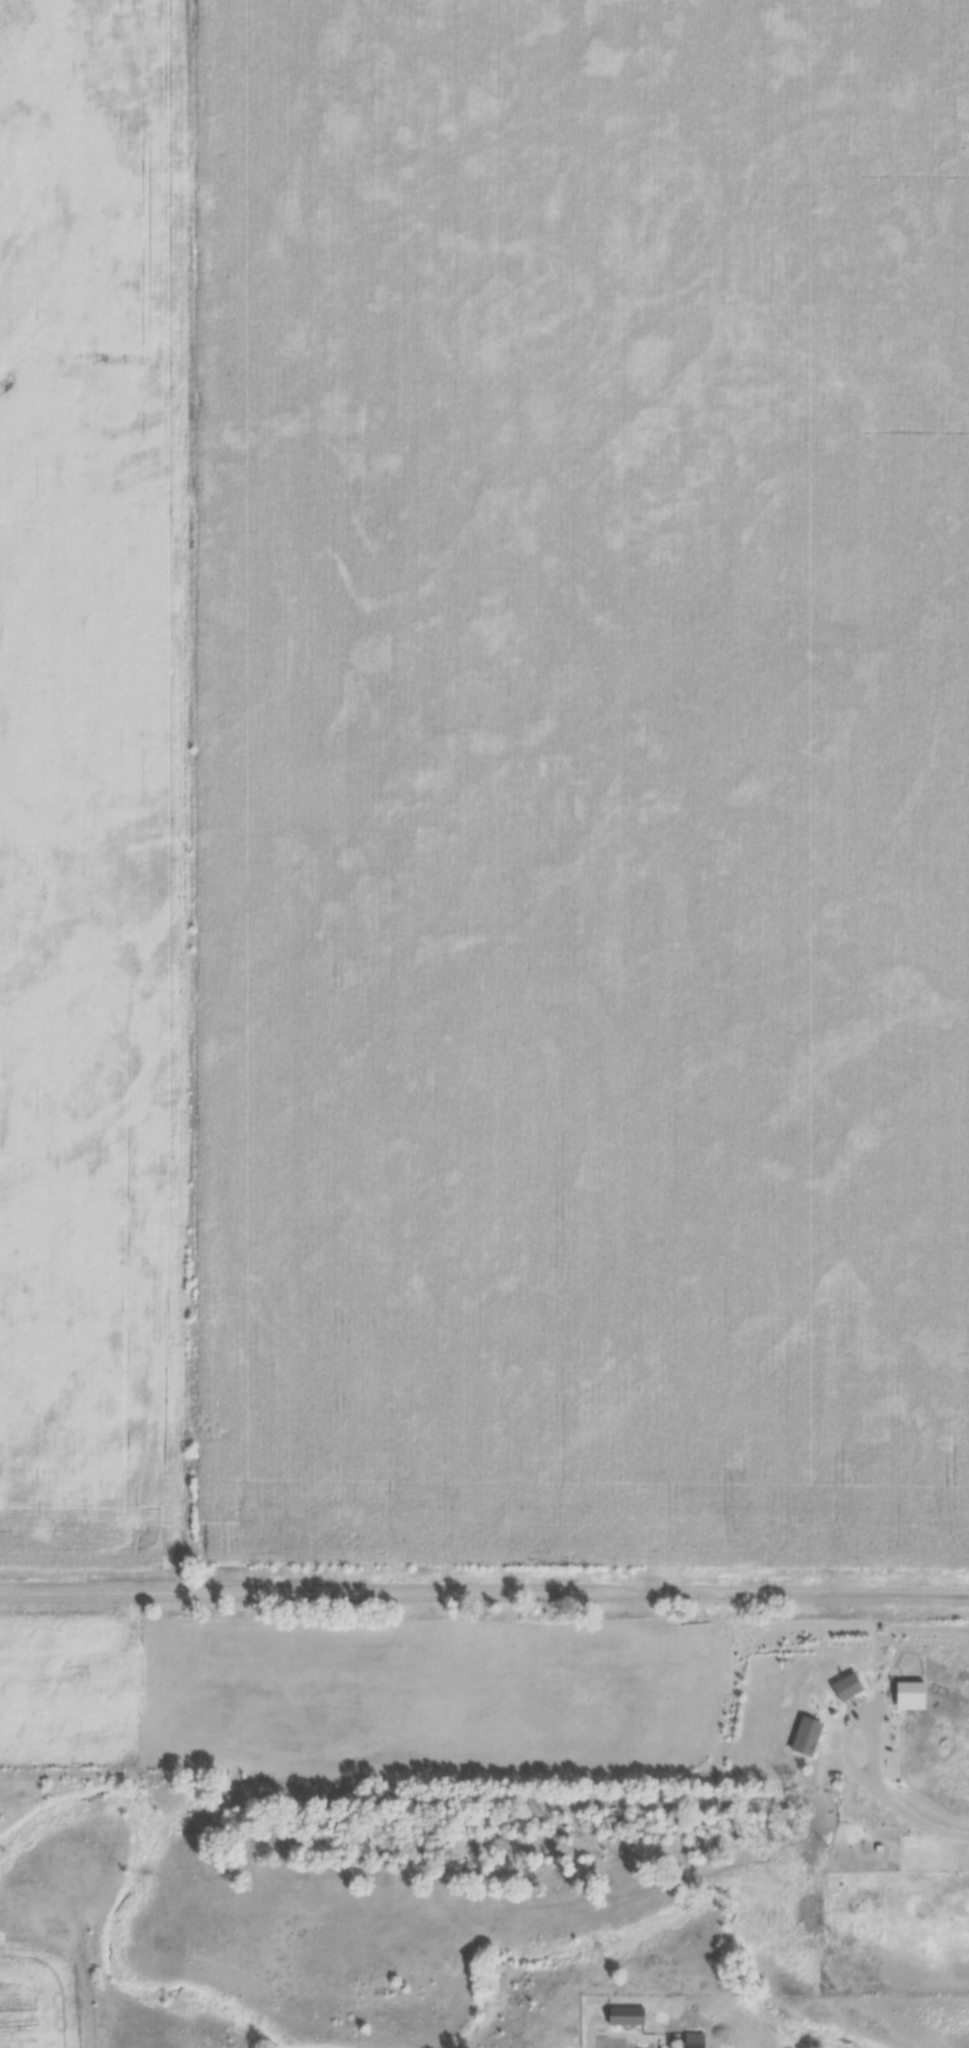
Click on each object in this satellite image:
road: (484, 1591)
building: (848, 1687)
road: (854, 1718)
building: (807, 1736)
road: (922, 1820)
building: (627, 2016)
building: (696, 2040)

